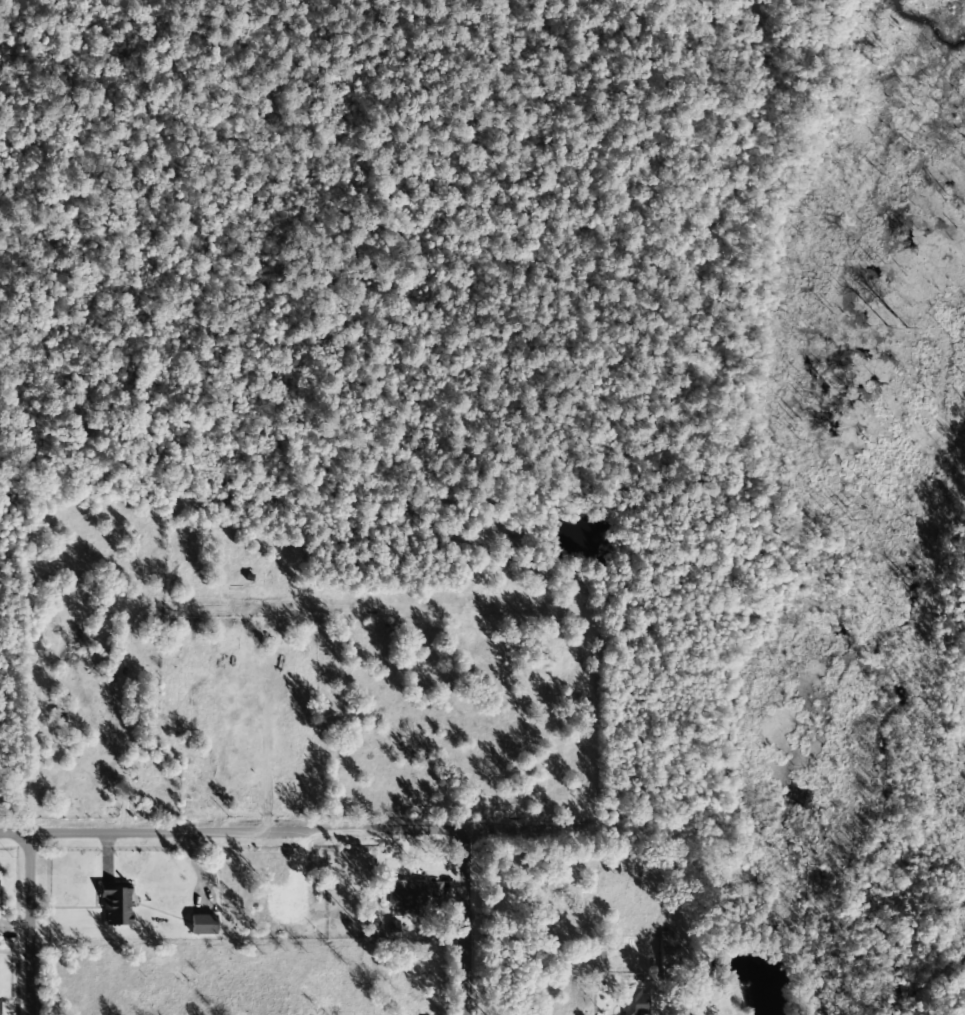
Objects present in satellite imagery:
road: (232, 831)
building: (116, 906)
road: (467, 922)
road: (32, 923)
building: (202, 924)
building: (634, 1002)
building: (0, 1009)

